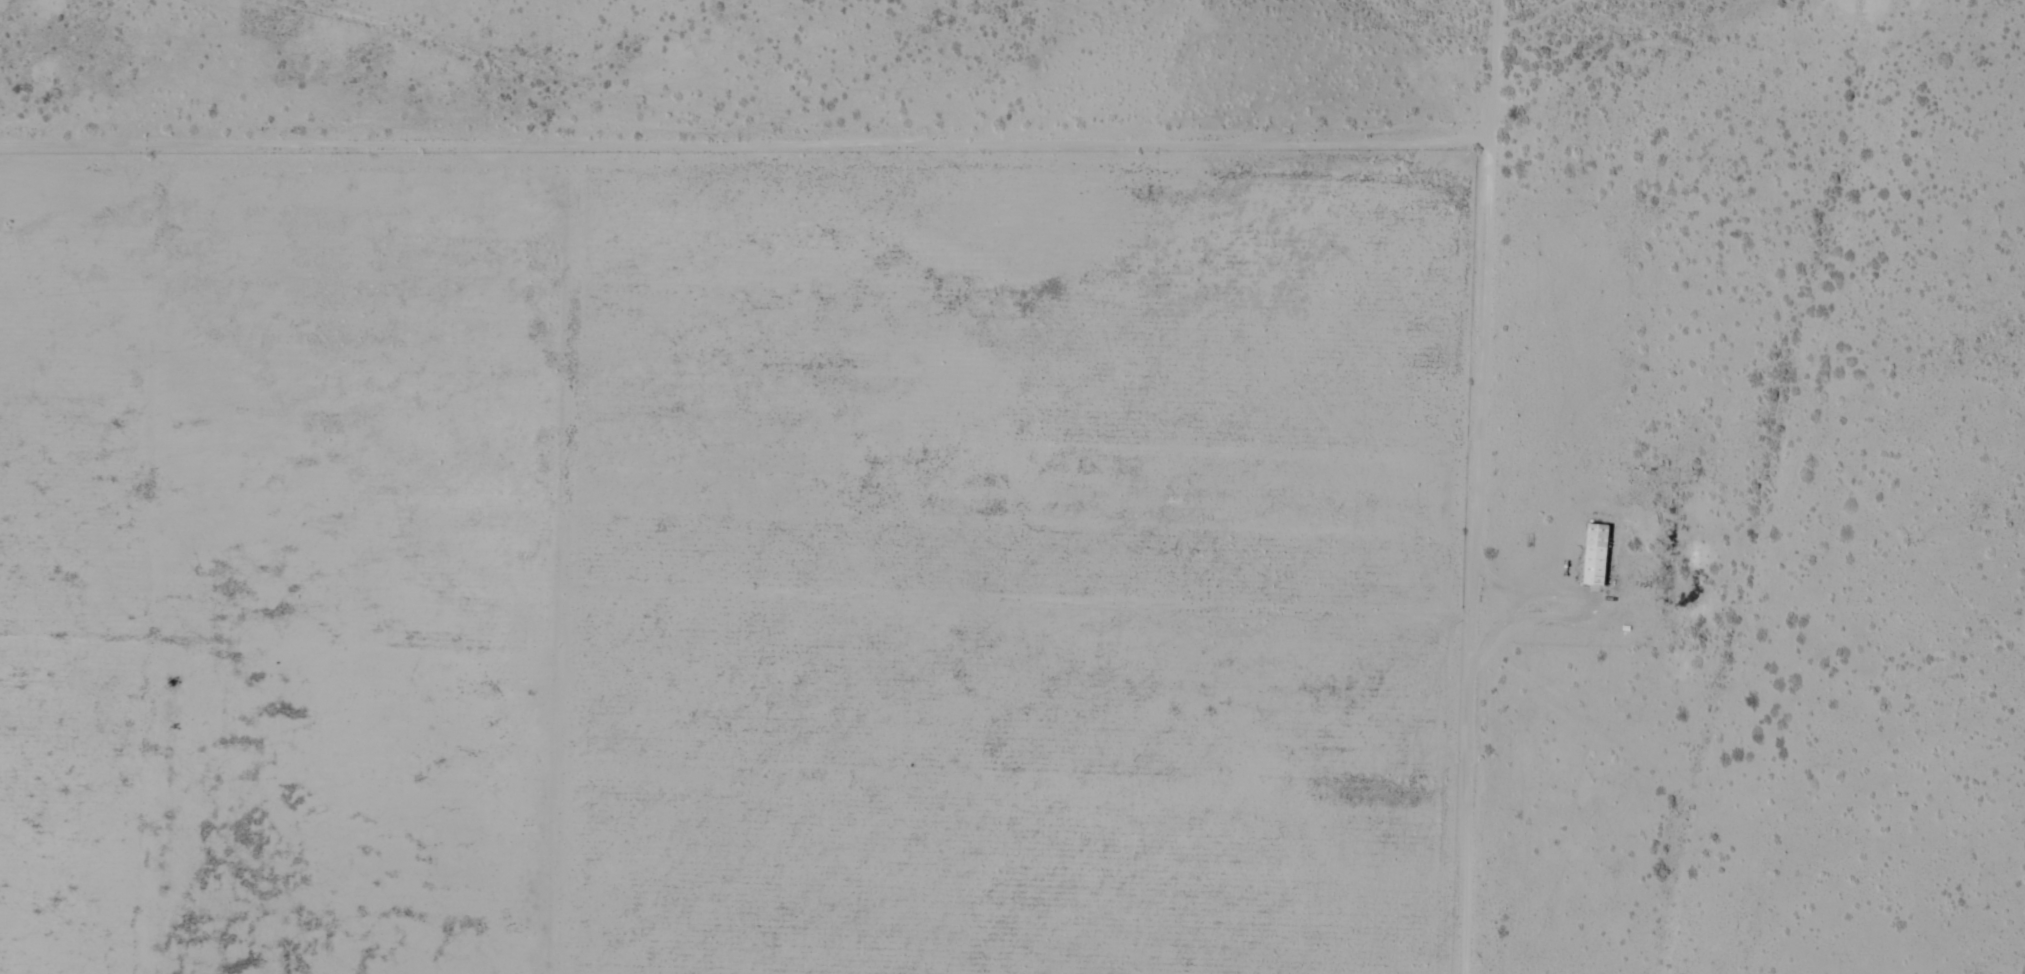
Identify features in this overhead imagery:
road: (1156, 355)

